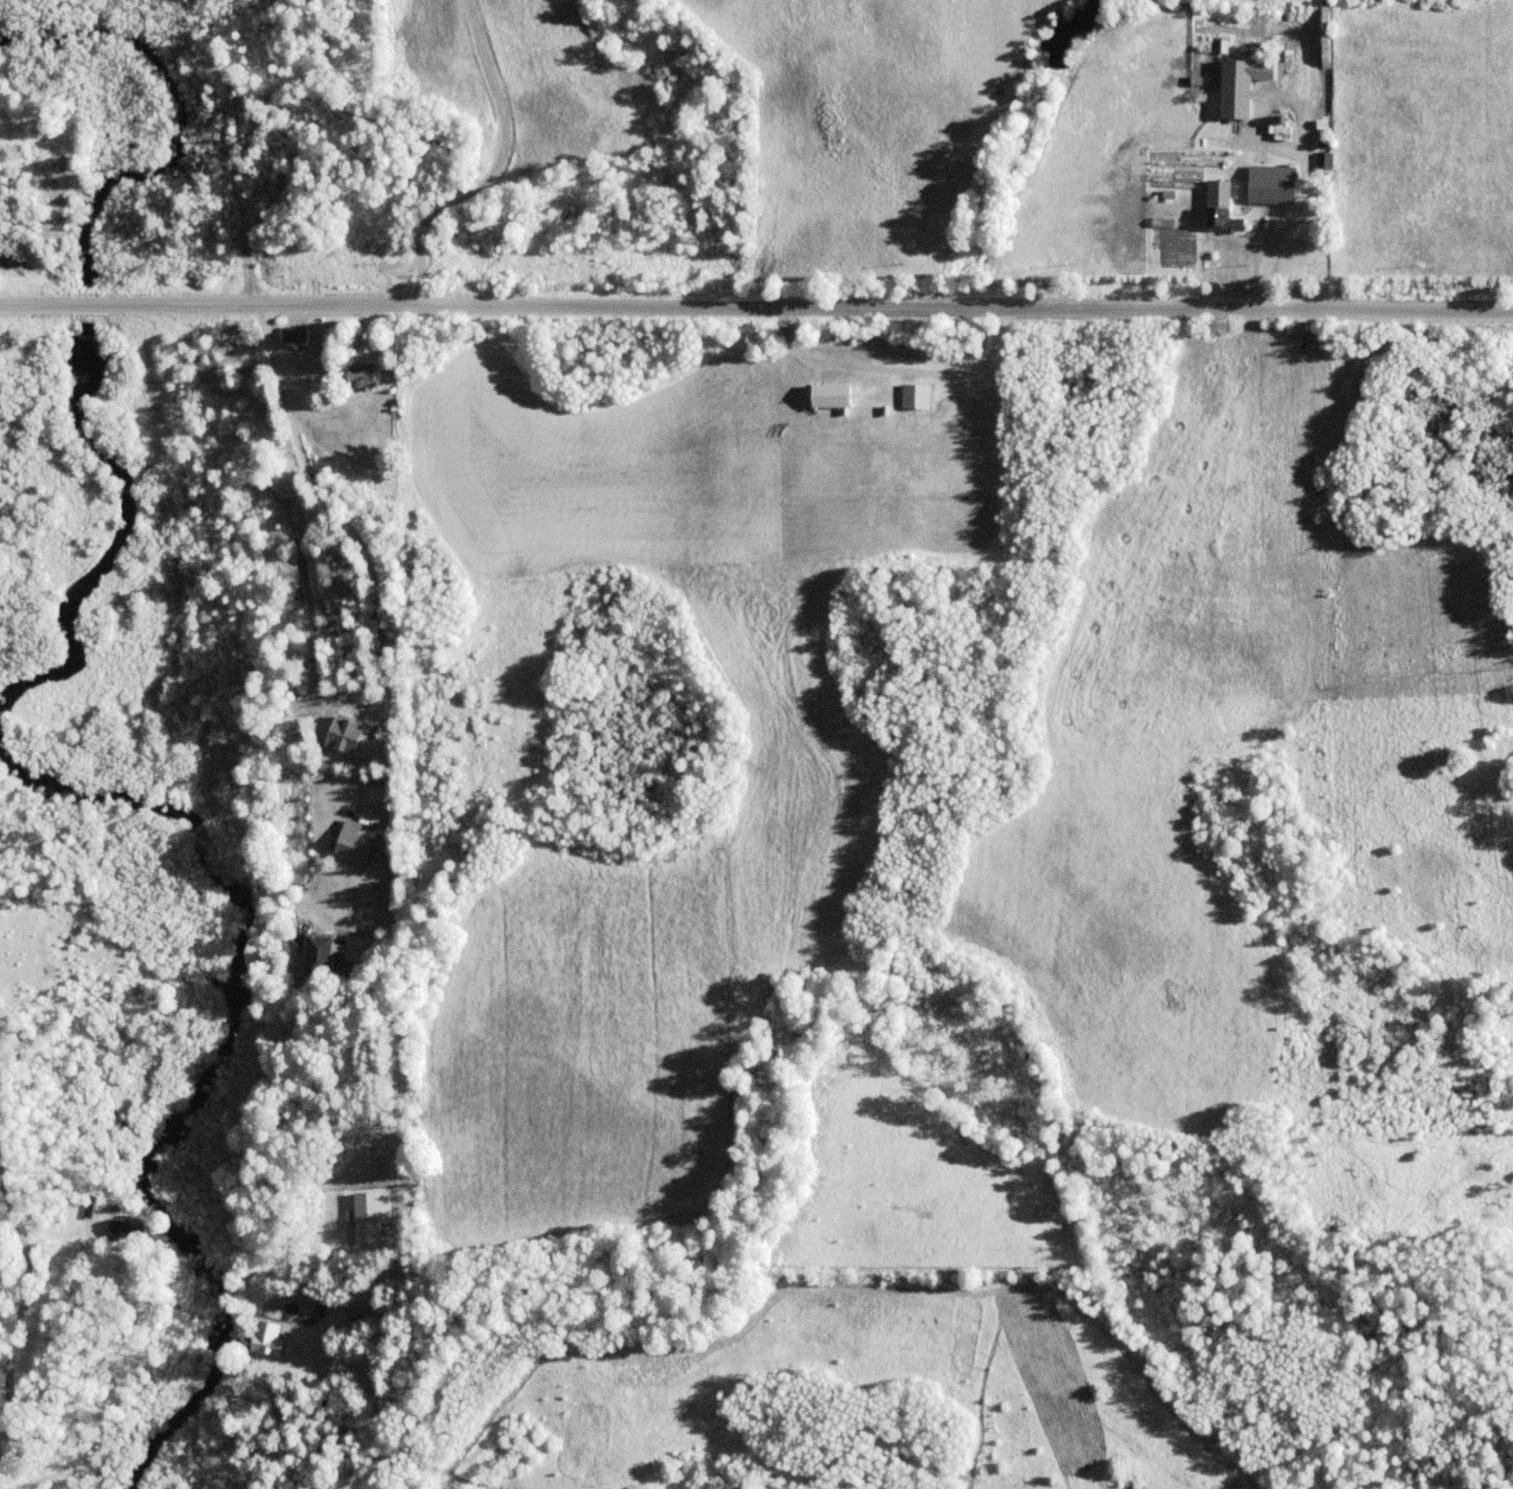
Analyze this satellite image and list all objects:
river: (180, 115)
building: (1326, 161)
road: (496, 169)
building: (1218, 216)
road: (54, 304)
river: (88, 305)
road: (810, 308)
building: (293, 335)
building: (358, 377)
road: (388, 752)
river: (202, 851)
building: (357, 851)
building: (317, 953)
building: (116, 1229)
building: (375, 1232)
road: (13, 1303)
building: (267, 1339)

